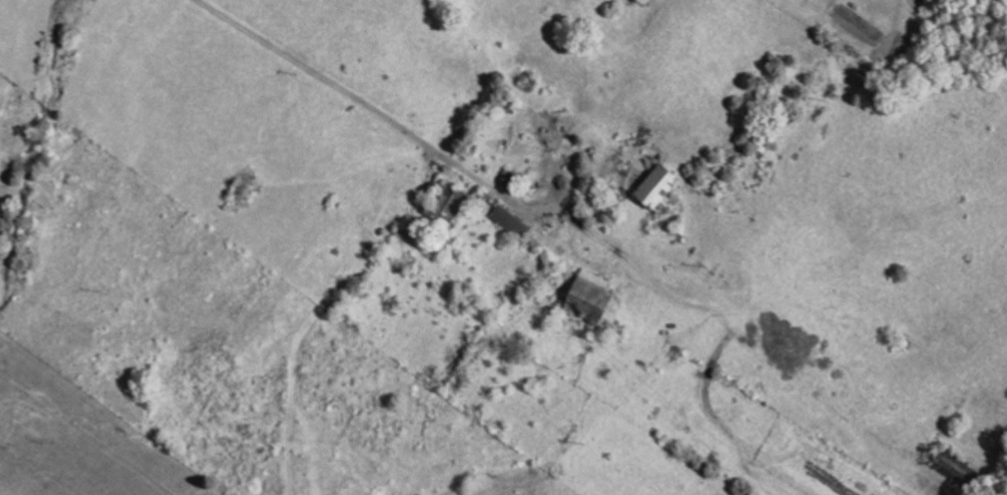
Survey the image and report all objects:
road: (305, 108)
building: (661, 189)
building: (450, 204)
building: (511, 221)
building: (594, 297)
building: (957, 470)

